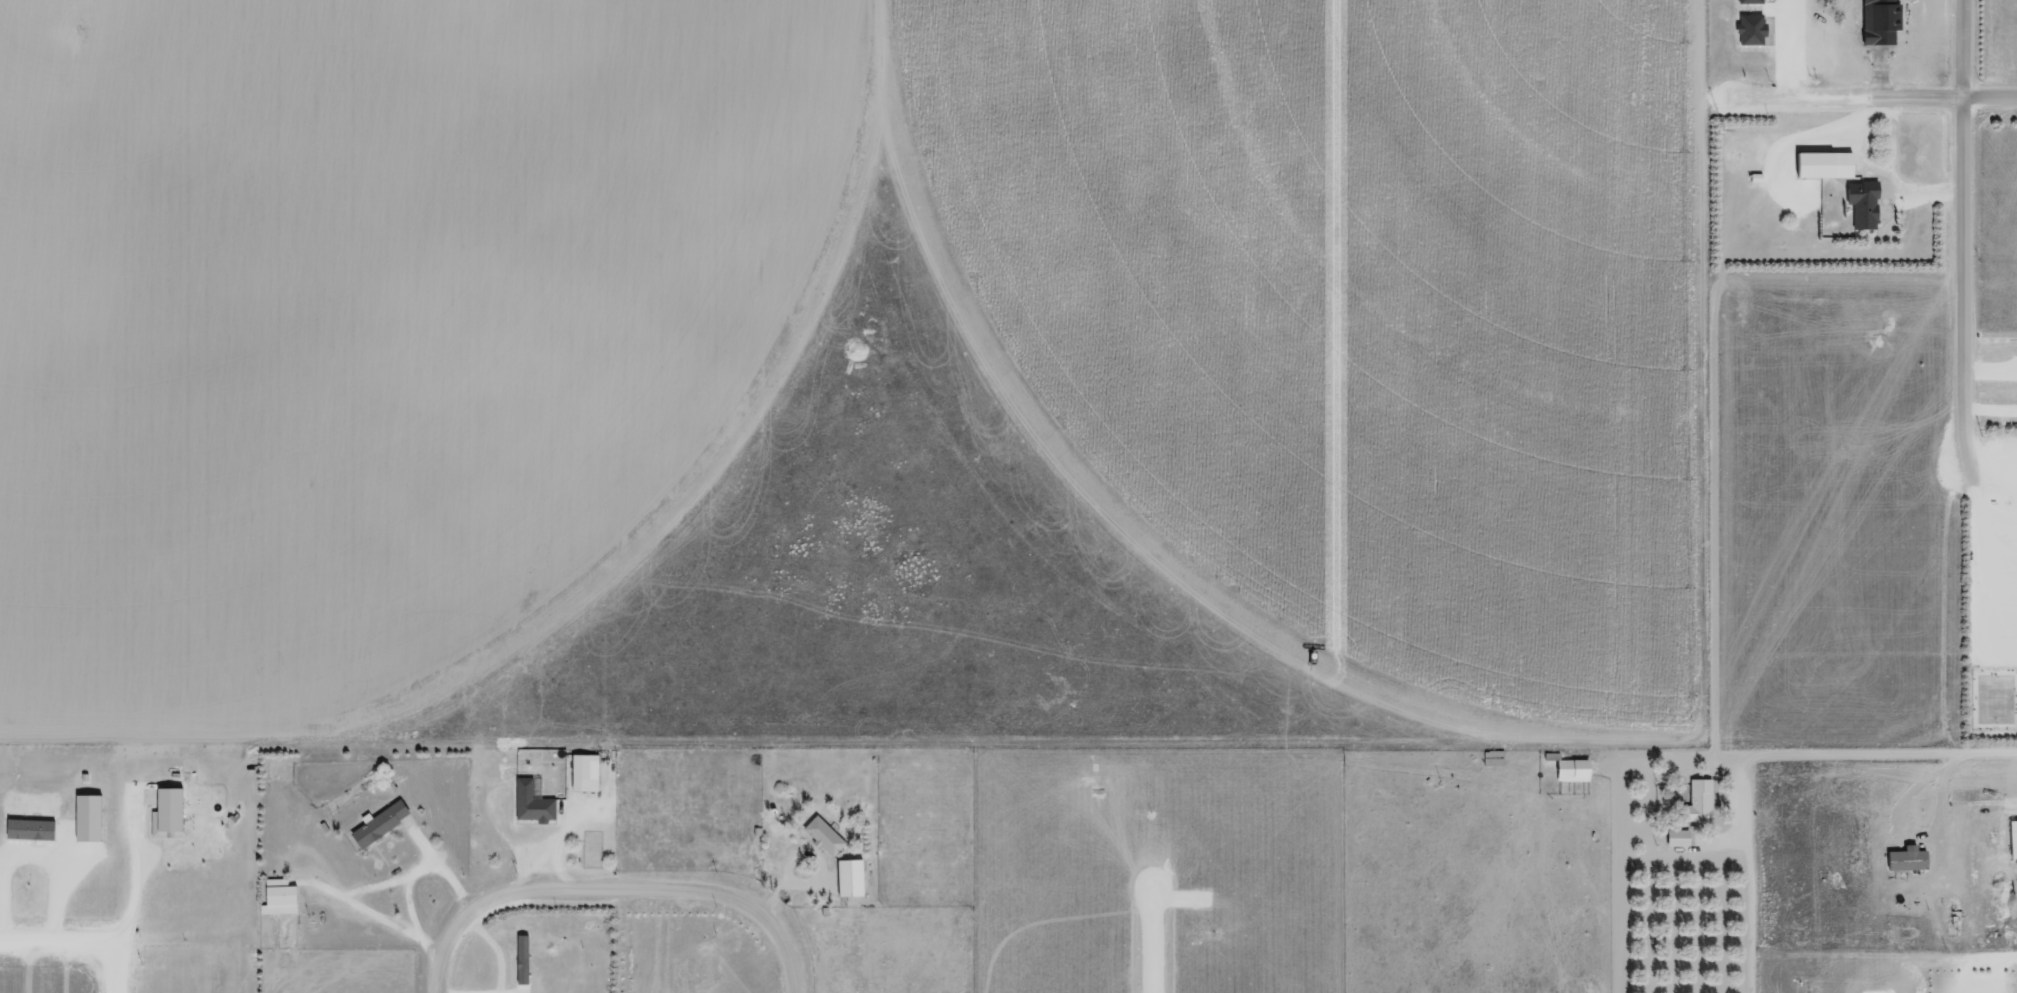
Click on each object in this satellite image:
building: (1747, 1)
building: (1748, 29)
road: (1864, 106)
building: (1821, 164)
building: (1861, 204)
road: (1959, 237)
road: (1989, 441)
road: (1986, 511)
road: (1973, 550)
road: (1940, 615)
road: (1959, 673)
road: (1988, 675)
park: (1993, 704)
road: (1840, 752)
building: (1570, 770)
building: (582, 772)
building: (530, 802)
building: (1696, 803)
building: (164, 812)
building: (376, 823)
building: (27, 829)
building: (821, 836)
building: (1675, 837)
building: (2012, 838)
building: (1905, 858)
building: (846, 878)
road: (595, 890)
building: (277, 897)
road: (788, 944)
road: (54, 946)
building: (519, 959)
road: (443, 963)
road: (108, 969)

